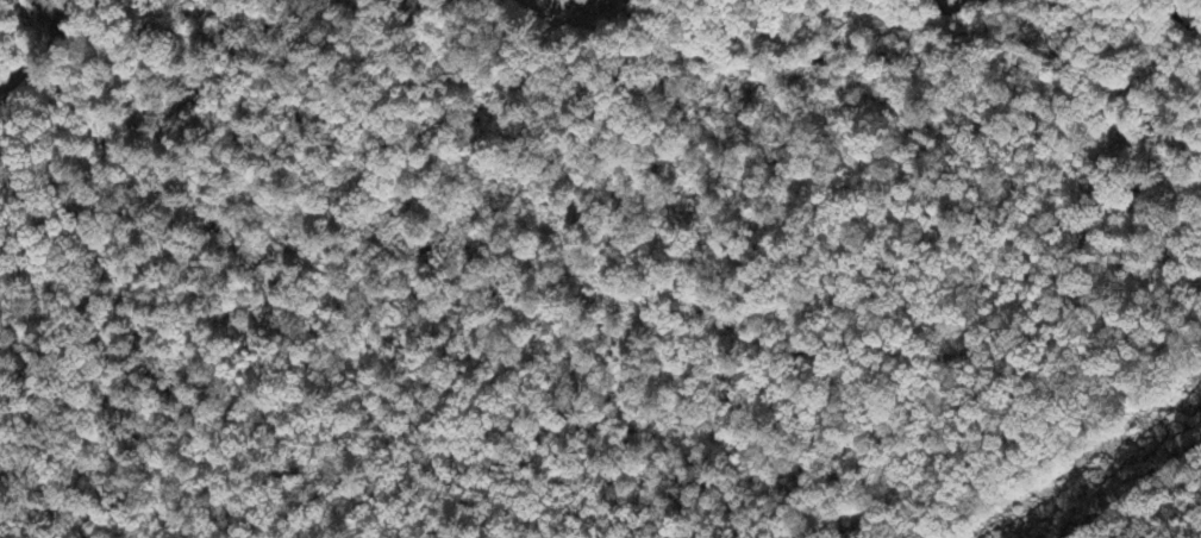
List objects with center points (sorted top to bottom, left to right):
road: (50, 54)

